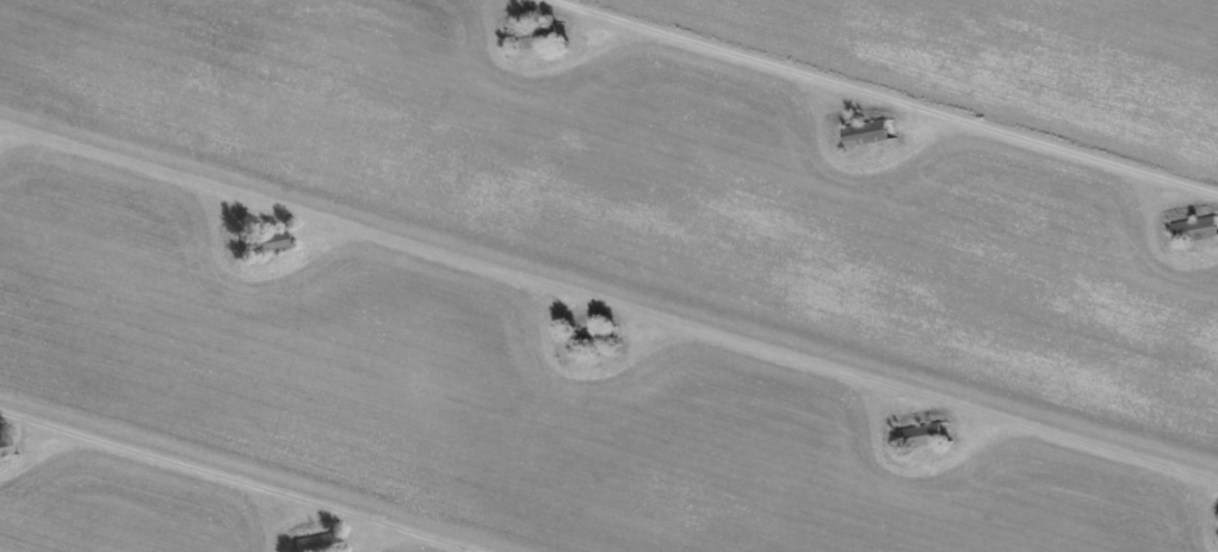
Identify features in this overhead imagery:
building: (537, 35)
road: (876, 99)
building: (866, 131)
building: (1195, 228)
building: (261, 242)
road: (608, 298)
building: (592, 339)
building: (920, 434)
building: (4, 447)
road: (234, 483)
building: (317, 542)

